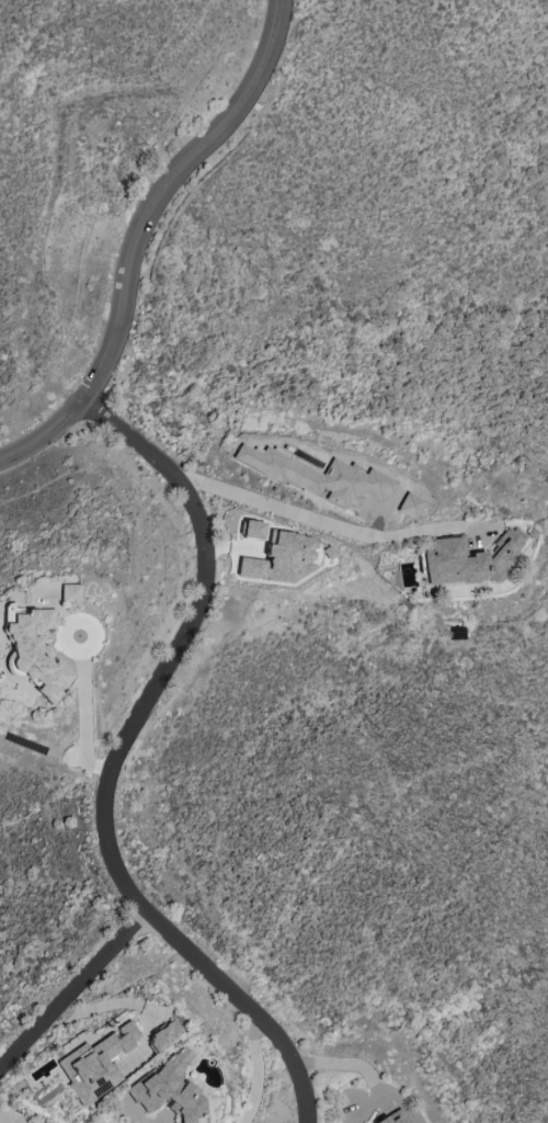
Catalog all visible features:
road: (140, 235)
building: (318, 476)
building: (409, 504)
road: (323, 520)
building: (252, 529)
building: (283, 558)
building: (467, 560)
building: (69, 592)
road: (64, 638)
road: (179, 645)
building: (36, 651)
road: (84, 717)
road: (75, 992)
road: (119, 1001)
road: (248, 1007)
building: (163, 1035)
building: (95, 1063)
road: (255, 1068)
building: (170, 1089)
building: (395, 1118)
road: (158, 1122)

